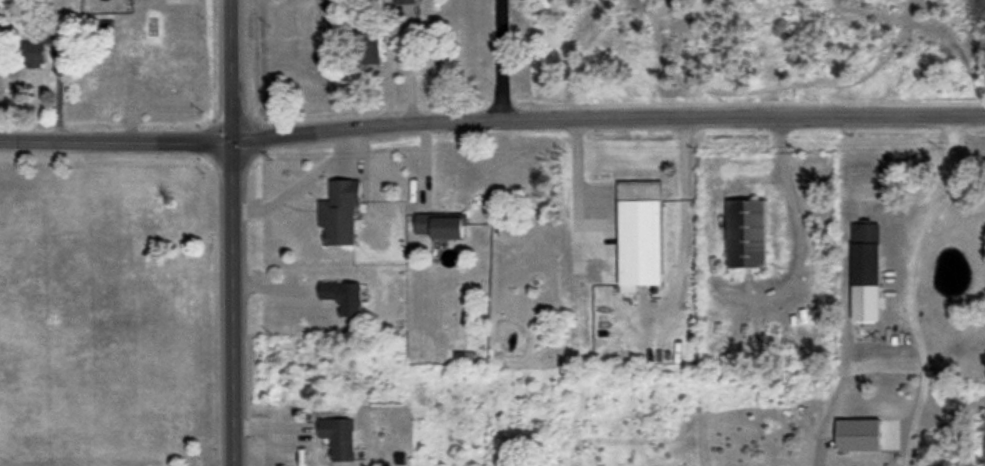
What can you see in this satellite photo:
building: (410, 1)
building: (371, 46)
building: (38, 47)
road: (499, 60)
road: (608, 118)
road: (116, 140)
road: (425, 167)
road: (301, 181)
building: (340, 211)
road: (796, 221)
building: (441, 224)
road: (682, 225)
road: (233, 232)
building: (640, 233)
building: (747, 233)
building: (866, 271)
road: (906, 289)
building: (344, 296)
road: (952, 411)
building: (859, 434)
building: (339, 437)

